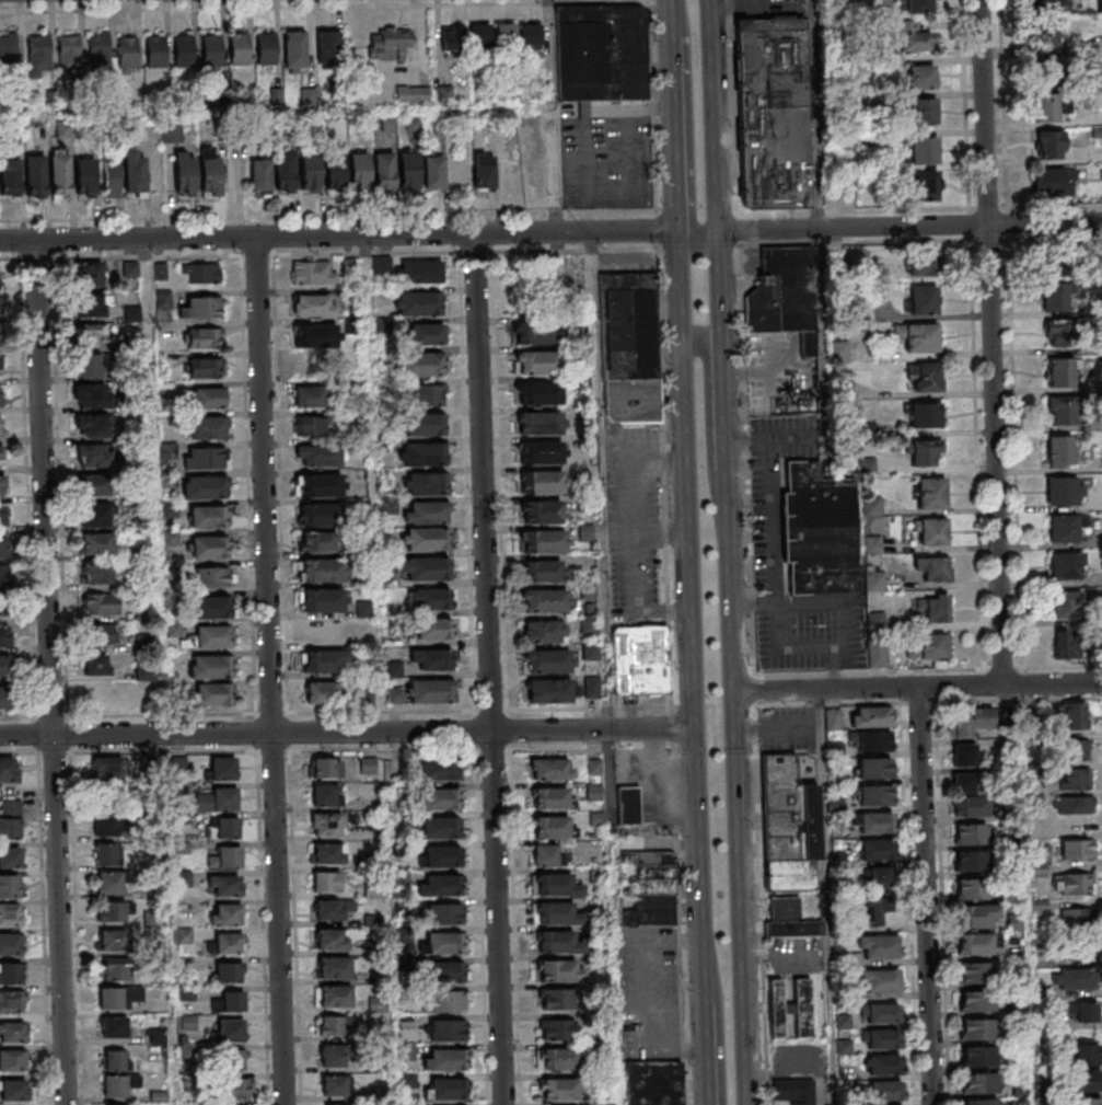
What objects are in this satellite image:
road: (733, 2)
road: (246, 4)
building: (1046, 4)
building: (918, 7)
parking lot: (768, 8)
building: (479, 32)
building: (506, 33)
building: (1046, 33)
building: (910, 36)
building: (530, 37)
building: (450, 38)
building: (391, 44)
building: (327, 47)
building: (9, 48)
building: (266, 48)
building: (155, 49)
building: (183, 49)
building: (211, 49)
building: (239, 49)
building: (98, 50)
building: (127, 51)
building: (294, 51)
building: (38, 53)
building: (599, 53)
building: (69, 55)
building: (1047, 68)
building: (921, 77)
building: (413, 94)
road: (650, 103)
road: (730, 106)
building: (1045, 106)
building: (924, 111)
road: (983, 112)
building: (770, 114)
road: (812, 114)
road: (550, 115)
road: (686, 128)
building: (172, 133)
building: (1049, 143)
building: (924, 150)
parking lot: (604, 160)
building: (359, 170)
building: (384, 170)
building: (409, 170)
building: (184, 172)
building: (209, 172)
building: (283, 172)
building: (309, 172)
building: (334, 172)
building: (433, 172)
building: (484, 172)
building: (60, 174)
building: (135, 174)
building: (36, 175)
building: (10, 176)
building: (84, 176)
building: (259, 176)
building: (111, 180)
building: (1053, 181)
building: (924, 183)
road: (693, 204)
road: (987, 206)
road: (326, 212)
road: (1006, 222)
road: (970, 223)
road: (654, 227)
road: (739, 227)
road: (907, 227)
road: (338, 237)
road: (989, 239)
road: (855, 242)
road: (573, 250)
parking lot: (624, 263)
building: (924, 263)
building: (383, 266)
building: (130, 269)
building: (201, 272)
building: (421, 272)
building: (312, 273)
building: (1067, 278)
building: (538, 279)
building: (90, 289)
building: (785, 295)
building: (923, 299)
building: (418, 303)
building: (313, 306)
building: (200, 307)
building: (537, 332)
building: (1056, 333)
building: (428, 334)
building: (91, 335)
building: (315, 335)
building: (918, 336)
building: (204, 337)
building: (628, 348)
building: (0, 362)
building: (536, 362)
building: (90, 364)
building: (420, 364)
building: (205, 367)
parking lot: (777, 370)
building: (1062, 371)
building: (925, 377)
building: (540, 392)
building: (428, 394)
building: (92, 395)
building: (208, 398)
building: (311, 398)
building: (1059, 410)
building: (925, 414)
building: (540, 422)
building: (425, 425)
building: (310, 426)
building: (0, 427)
building: (92, 427)
building: (207, 427)
road: (707, 435)
building: (0, 450)
building: (1059, 450)
building: (924, 451)
building: (541, 452)
building: (422, 453)
road: (977, 453)
road: (994, 454)
building: (93, 456)
building: (318, 457)
building: (204, 458)
road: (663, 477)
road: (499, 480)
building: (424, 483)
building: (542, 483)
building: (100, 485)
building: (318, 486)
building: (2, 487)
building: (204, 487)
building: (1062, 491)
building: (930, 493)
building: (426, 513)
building: (541, 514)
building: (321, 515)
building: (95, 516)
building: (208, 516)
parking lot: (635, 521)
parking lot: (767, 525)
building: (1063, 528)
road: (600, 531)
building: (819, 531)
building: (931, 531)
building: (426, 539)
building: (318, 542)
building: (542, 542)
building: (96, 543)
building: (210, 545)
road: (687, 552)
road: (724, 552)
building: (1066, 565)
building: (932, 567)
building: (426, 568)
building: (323, 569)
building: (96, 572)
building: (543, 572)
building: (212, 576)
building: (874, 582)
building: (430, 599)
building: (323, 600)
building: (545, 601)
building: (101, 603)
building: (1066, 603)
building: (211, 606)
building: (931, 607)
building: (588, 624)
building: (433, 629)
building: (324, 631)
building: (543, 632)
building: (98, 634)
building: (4, 636)
building: (209, 636)
building: (1066, 644)
building: (928, 646)
building: (590, 653)
building: (431, 659)
building: (640, 659)
building: (325, 660)
building: (547, 663)
building: (95, 665)
building: (3, 666)
building: (210, 666)
road: (488, 669)
road: (869, 670)
road: (267, 671)
road: (47, 672)
road: (753, 675)
road: (1052, 684)
building: (592, 687)
road: (959, 687)
building: (430, 691)
building: (550, 691)
road: (823, 691)
building: (320, 692)
building: (211, 693)
building: (3, 697)
road: (828, 703)
road: (691, 705)
road: (589, 707)
building: (1071, 715)
building: (869, 716)
building: (832, 717)
building: (970, 721)
road: (711, 727)
parking lot: (786, 727)
road: (347, 733)
building: (872, 740)
road: (733, 748)
building: (1074, 748)
road: (591, 749)
building: (964, 753)
building: (368, 764)
building: (324, 767)
building: (593, 767)
building: (107, 768)
building: (223, 768)
building: (550, 768)
building: (873, 768)
building: (8, 769)
building: (441, 769)
building: (1075, 778)
building: (964, 782)
parking lot: (649, 789)
building: (325, 794)
building: (872, 794)
building: (548, 797)
building: (440, 798)
building: (219, 799)
building: (1076, 804)
building: (628, 805)
building: (970, 805)
building: (10, 818)
building: (105, 822)
building: (874, 822)
building: (326, 825)
building: (789, 825)
building: (550, 826)
building: (222, 827)
building: (439, 828)
building: (971, 833)
building: (1077, 848)
building: (875, 850)
building: (104, 853)
building: (326, 853)
building: (544, 854)
building: (9, 856)
building: (225, 856)
building: (442, 856)
building: (971, 861)
building: (595, 875)
building: (877, 876)
building: (326, 880)
building: (111, 882)
building: (554, 884)
building: (1072, 884)
building: (9, 885)
building: (223, 885)
building: (441, 885)
building: (647, 887)
building: (972, 888)
road: (1025, 895)
road: (925, 896)
road: (824, 897)
building: (333, 909)
building: (111, 911)
building: (11, 913)
building: (225, 913)
building: (442, 913)
building: (558, 913)
building: (977, 914)
building: (152, 918)
building: (789, 918)
building: (1075, 919)
road: (513, 926)
road: (678, 926)
building: (330, 939)
building: (112, 941)
building: (558, 942)
building: (10, 943)
building: (228, 943)
building: (443, 943)
building: (976, 943)
building: (878, 946)
parking lot: (794, 953)
building: (334, 967)
building: (114, 969)
building: (559, 970)
building: (227, 971)
building: (445, 971)
building: (12, 972)
building: (975, 972)
building: (1072, 979)
building: (880, 980)
building: (135, 993)
parking lot: (647, 993)
building: (333, 995)
building: (111, 997)
building: (555, 998)
building: (448, 1000)
building: (11, 1001)
building: (230, 1001)
building: (976, 1001)
building: (801, 1002)
building: (375, 1004)
building: (776, 1008)
building: (880, 1013)
building: (1086, 1014)
road: (718, 1015)
building: (335, 1024)
building: (113, 1026)
building: (557, 1028)
building: (976, 1028)
building: (231, 1029)
building: (446, 1029)
building: (12, 1031)
building: (882, 1038)
building: (1087, 1054)
building: (332, 1056)
building: (978, 1056)
building: (445, 1058)
building: (555, 1058)
building: (13, 1059)
building: (114, 1059)
building: (233, 1060)
parking lot: (797, 1062)
building: (882, 1064)
building: (1086, 1080)
building: (652, 1082)
building: (977, 1082)
building: (334, 1084)
building: (115, 1085)
building: (236, 1086)
building: (13, 1089)
building: (446, 1089)
building: (558, 1089)
building: (886, 1090)
building: (794, 1091)
building: (1089, 1101)
building: (981, 1102)

